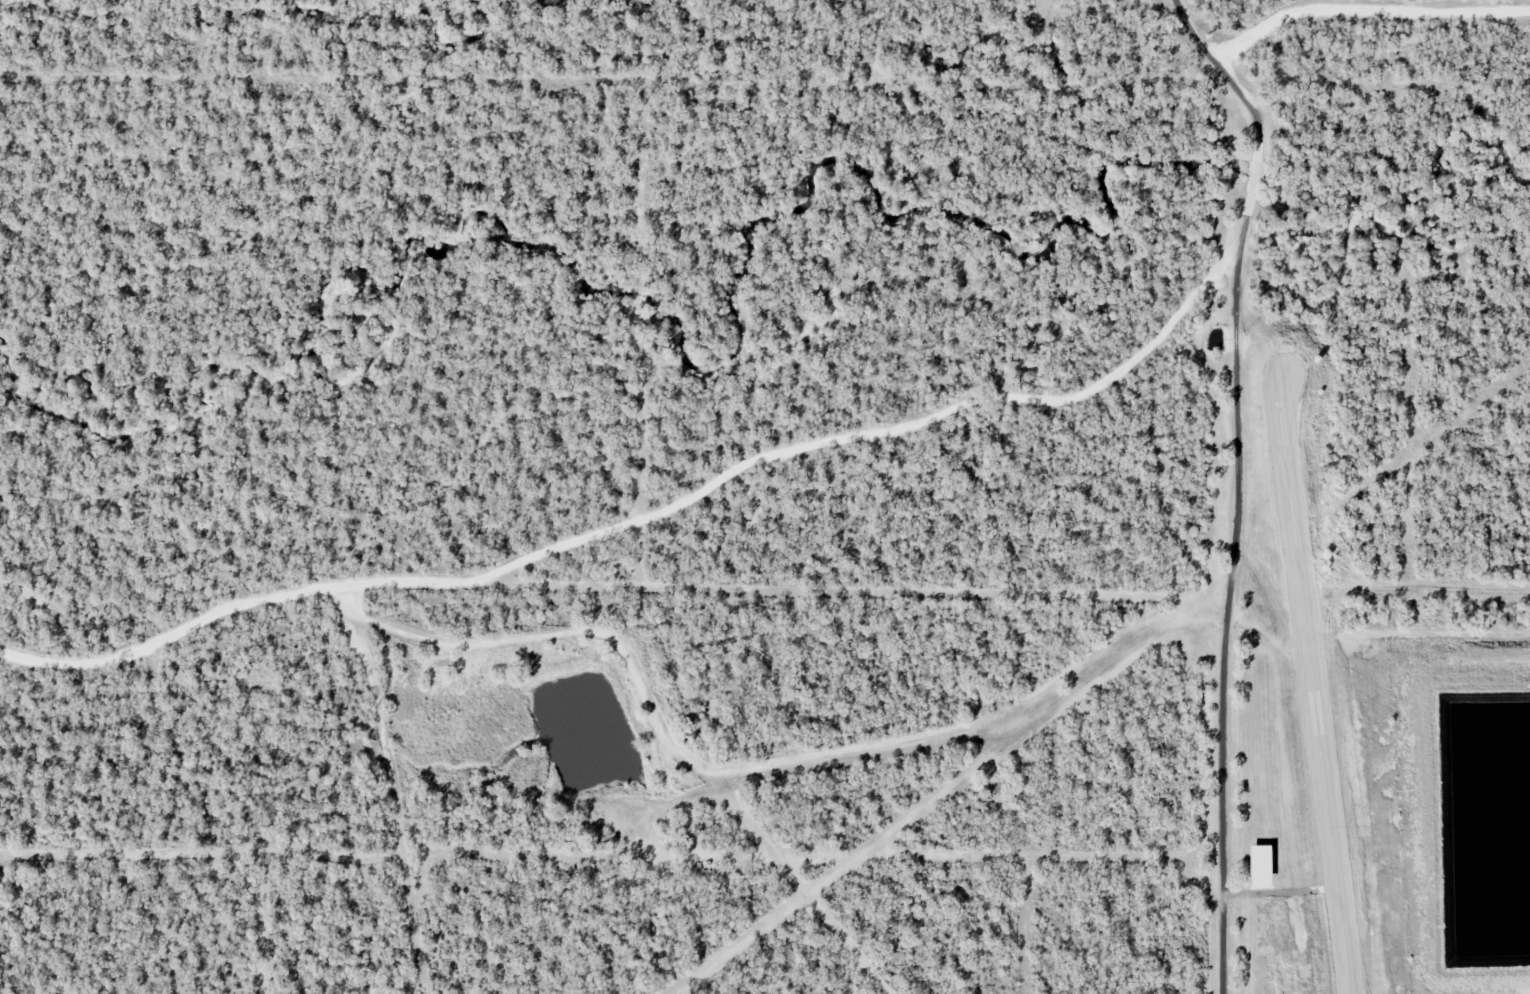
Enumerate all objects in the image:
road: (1238, 483)
road: (646, 521)
airport runway: (1315, 687)
building: (1262, 862)

